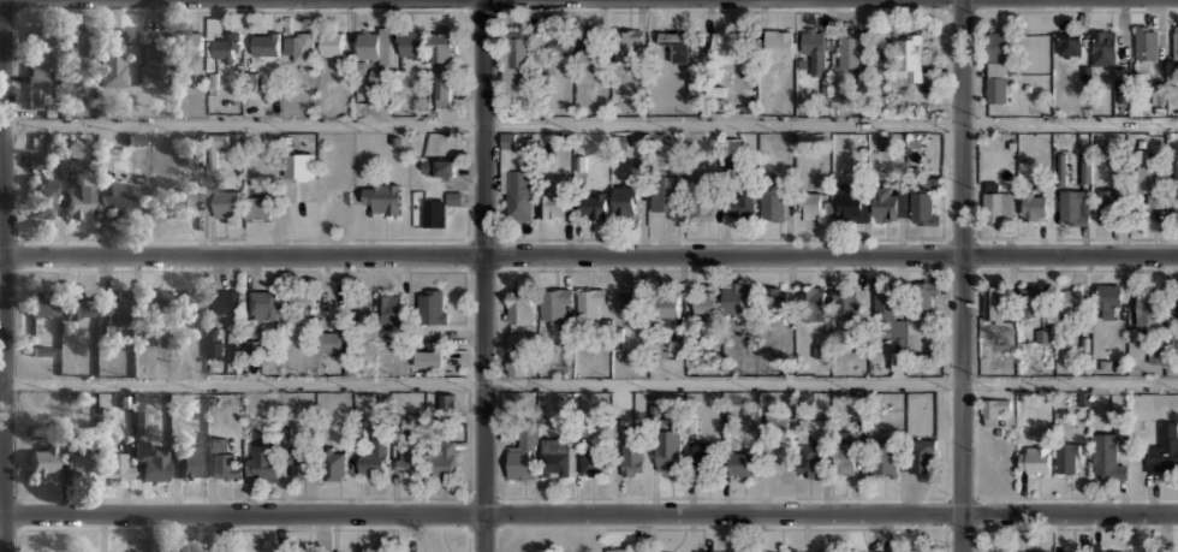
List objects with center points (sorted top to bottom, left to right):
road: (0, 0)
building: (813, 40)
building: (1176, 40)
building: (190, 42)
building: (264, 42)
building: (410, 42)
building: (778, 42)
building: (1070, 42)
building: (1144, 42)
building: (332, 43)
building: (373, 44)
building: (559, 44)
building: (76, 46)
building: (227, 46)
building: (298, 46)
building: (589, 46)
building: (677, 46)
building: (726, 46)
building: (1106, 46)
building: (626, 48)
building: (850, 48)
building: (908, 58)
building: (516, 59)
building: (112, 64)
building: (153, 64)
building: (996, 66)
building: (442, 67)
building: (38, 70)
road: (591, 121)
building: (75, 147)
building: (732, 153)
building: (196, 155)
building: (36, 160)
building: (299, 165)
building: (446, 167)
building: (1060, 167)
building: (1085, 167)
building: (1148, 180)
building: (516, 183)
building: (823, 183)
building: (204, 192)
building: (665, 192)
building: (1176, 195)
building: (79, 196)
building: (382, 196)
building: (42, 197)
building: (555, 200)
building: (624, 200)
building: (922, 200)
building: (114, 201)
building: (702, 201)
building: (180, 202)
building: (226, 202)
building: (887, 202)
building: (742, 203)
building: (850, 203)
building: (995, 203)
building: (593, 204)
building: (772, 204)
building: (810, 204)
building: (1035, 204)
building: (1108, 206)
building: (258, 207)
building: (1073, 207)
building: (434, 212)
road: (2, 253)
road: (589, 255)
road: (5, 275)
road: (483, 275)
road: (960, 275)
building: (774, 296)
building: (154, 297)
building: (736, 297)
building: (924, 297)
building: (190, 299)
building: (302, 299)
building: (844, 299)
building: (1069, 299)
building: (1108, 299)
building: (554, 301)
building: (813, 301)
building: (1029, 301)
building: (590, 302)
building: (631, 302)
building: (704, 302)
building: (993, 302)
building: (43, 303)
building: (227, 303)
building: (263, 303)
building: (1177, 303)
building: (666, 304)
building: (78, 305)
building: (117, 305)
building: (432, 305)
building: (520, 307)
building: (389, 308)
building: (1147, 308)
building: (886, 314)
building: (329, 340)
building: (214, 344)
building: (43, 351)
building: (429, 357)
building: (821, 357)
building: (898, 362)
building: (516, 363)
road: (588, 382)
building: (447, 403)
building: (993, 409)
building: (139, 422)
building: (667, 449)
building: (1164, 449)
building: (375, 451)
building: (409, 455)
building: (523, 455)
building: (703, 455)
building: (921, 455)
building: (444, 457)
building: (555, 457)
building: (808, 457)
building: (845, 457)
building: (883, 457)
building: (1067, 457)
building: (1106, 457)
building: (150, 458)
building: (632, 458)
building: (1035, 458)
building: (188, 459)
building: (42, 461)
building: (264, 462)
building: (78, 463)
building: (301, 463)
building: (593, 463)
building: (742, 463)
building: (117, 464)
building: (334, 464)
building: (226, 465)
road: (589, 512)
building: (629, 550)
building: (726, 551)
building: (791, 551)
building: (821, 551)
building: (994, 551)
building: (1031, 551)
building: (1073, 551)

